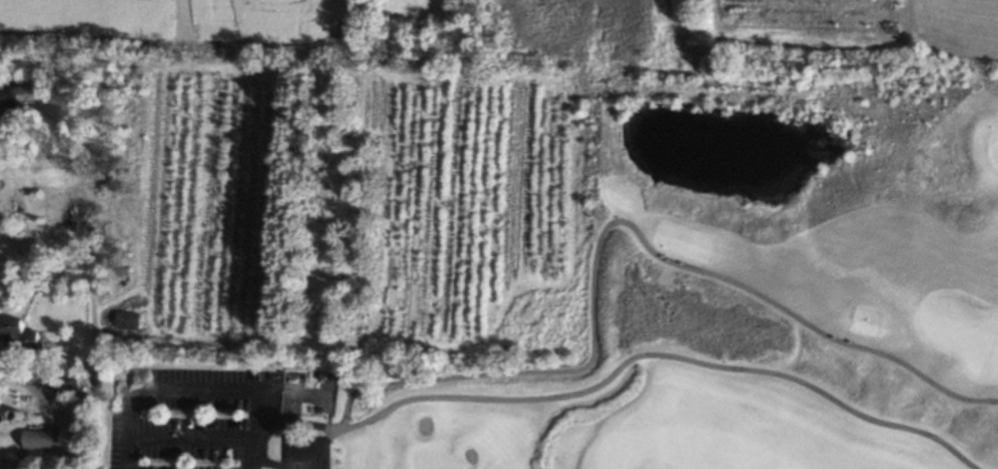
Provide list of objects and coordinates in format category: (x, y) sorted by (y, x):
crop: (184, 16)
crop: (868, 21)
building: (13, 99)
crop: (475, 198)
crop: (212, 202)
road: (617, 217)
park: (654, 307)
building: (128, 319)
building: (19, 335)
road: (662, 354)
road: (278, 385)
road: (192, 387)
parking lot: (180, 416)
road: (302, 420)
road: (70, 427)
road: (190, 436)
building: (41, 439)
road: (238, 453)
road: (261, 468)

